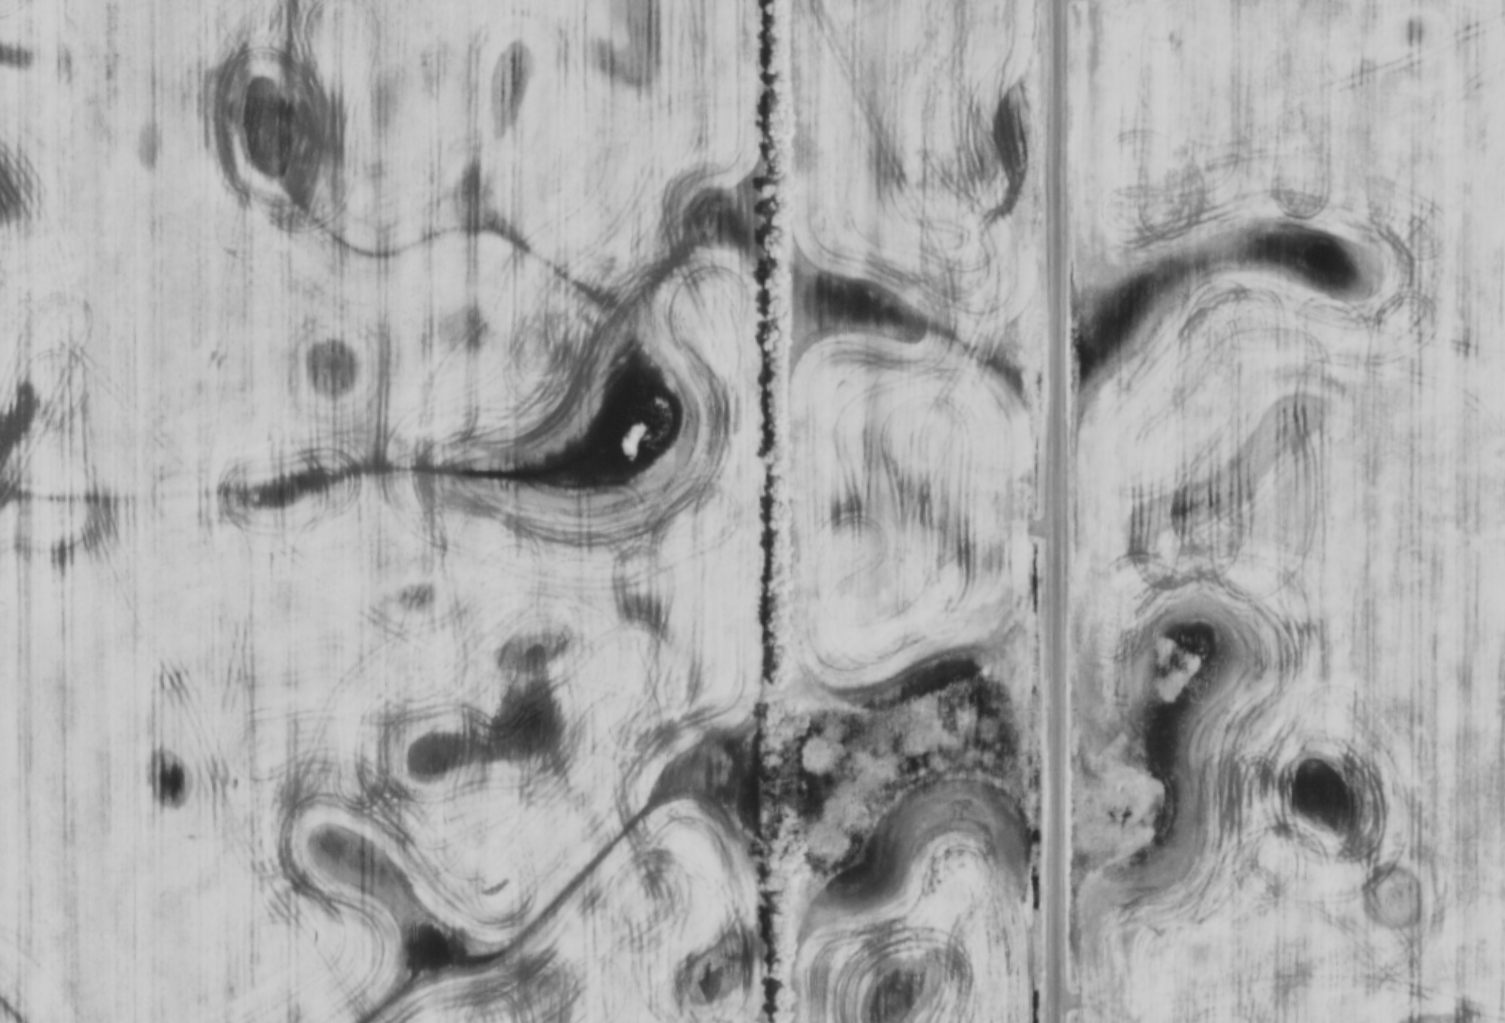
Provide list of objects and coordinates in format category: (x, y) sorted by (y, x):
road: (1059, 511)

